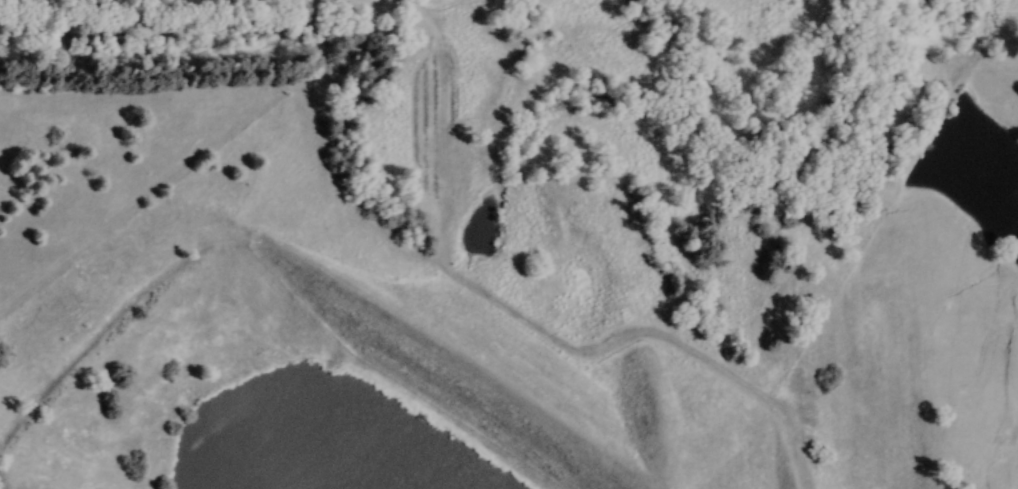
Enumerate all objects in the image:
river: (680, 118)
dam: (308, 275)
river: (443, 336)
river: (398, 454)

